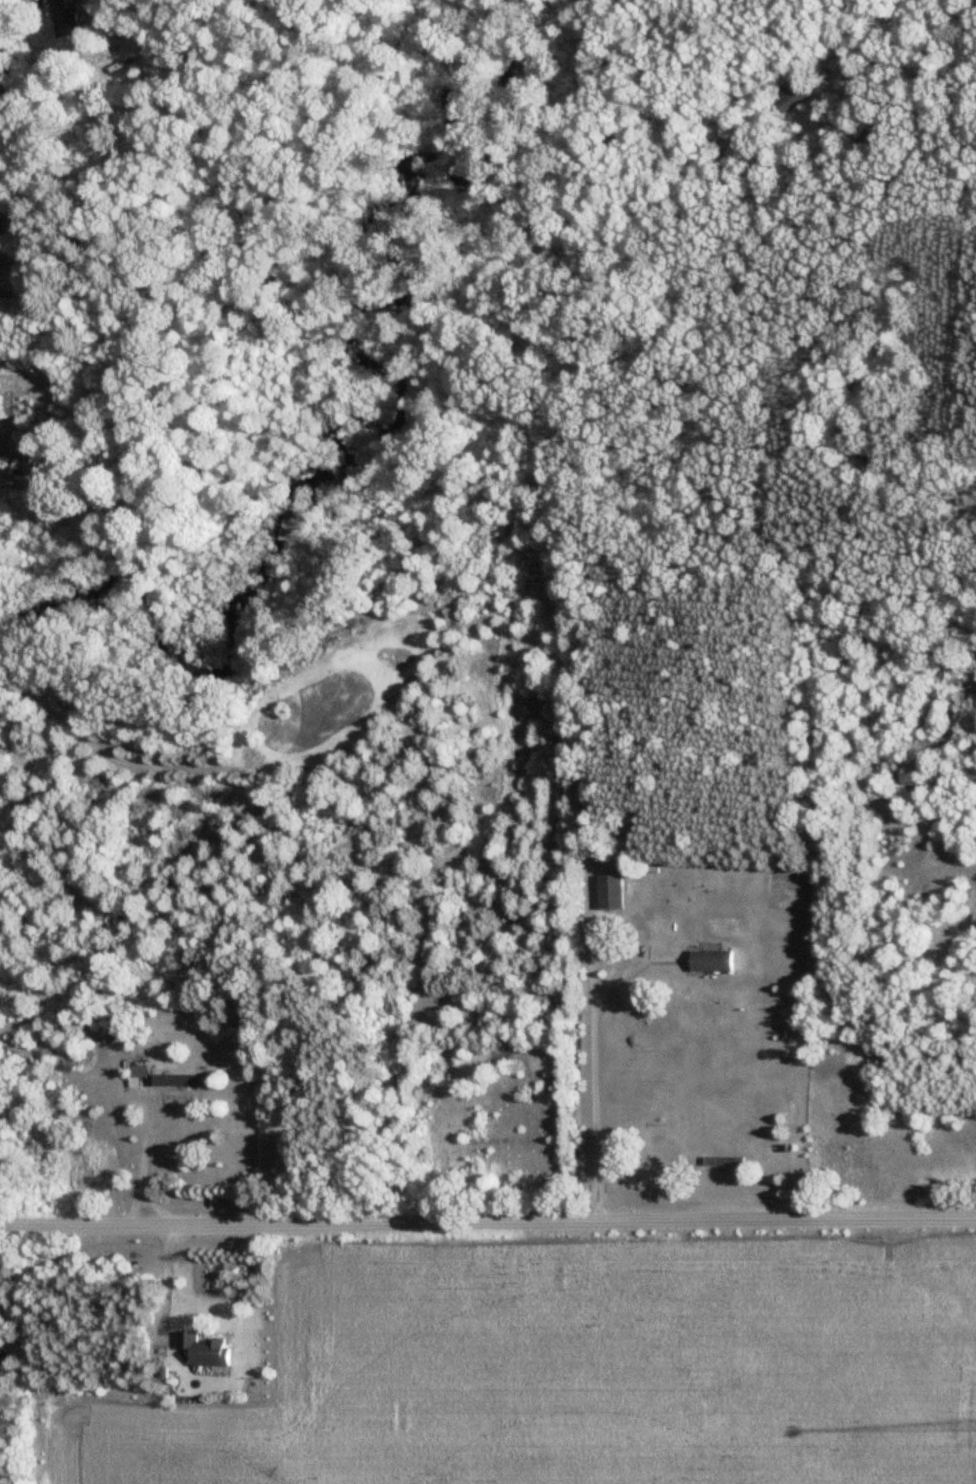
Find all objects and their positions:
building: (65, 21)
building: (790, 96)
building: (1, 231)
building: (610, 893)
building: (711, 961)
road: (593, 1007)
building: (137, 1073)
building: (182, 1081)
building: (723, 1163)
road: (144, 1165)
road: (153, 1205)
road: (487, 1223)
road: (165, 1279)
building: (203, 1351)

